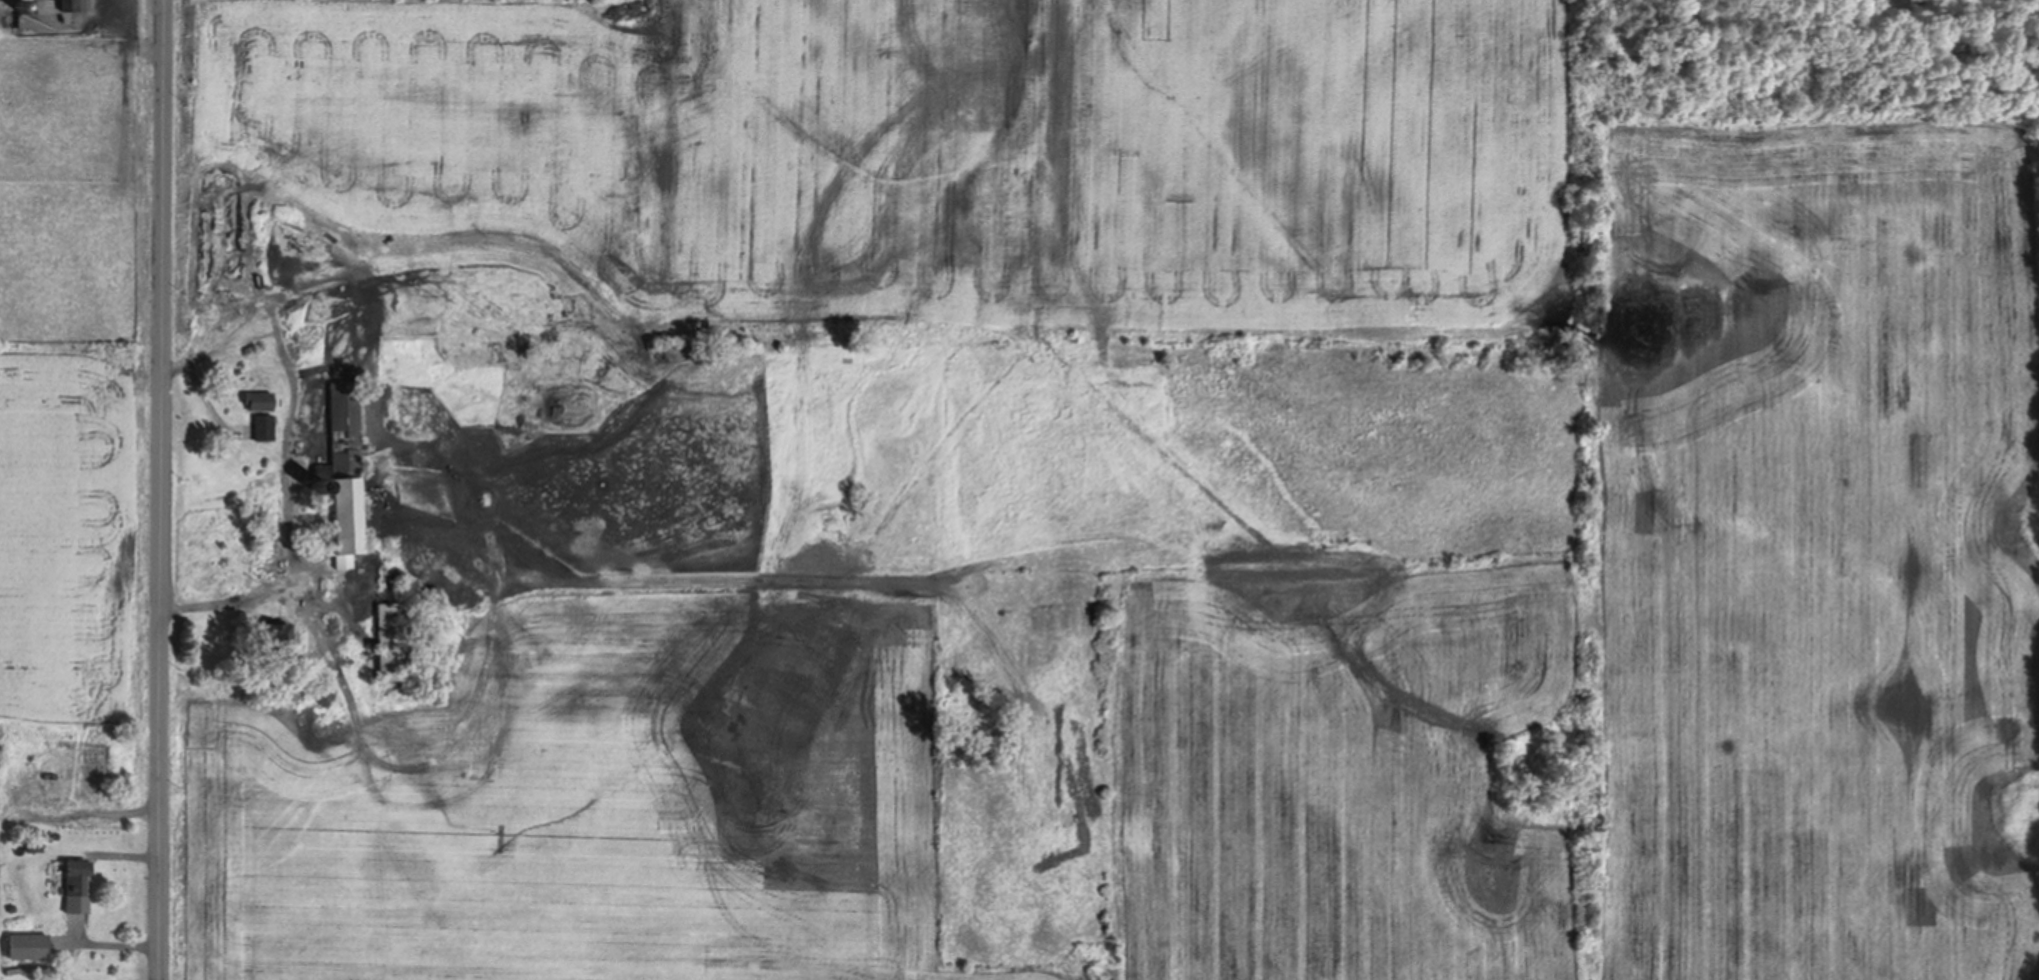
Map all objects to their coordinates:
building: (73, 3)
building: (21, 5)
building: (258, 399)
road: (302, 425)
building: (263, 426)
building: (343, 472)
building: (318, 486)
road: (161, 489)
building: (275, 635)
building: (393, 640)
building: (34, 840)
building: (76, 886)
road: (110, 947)

